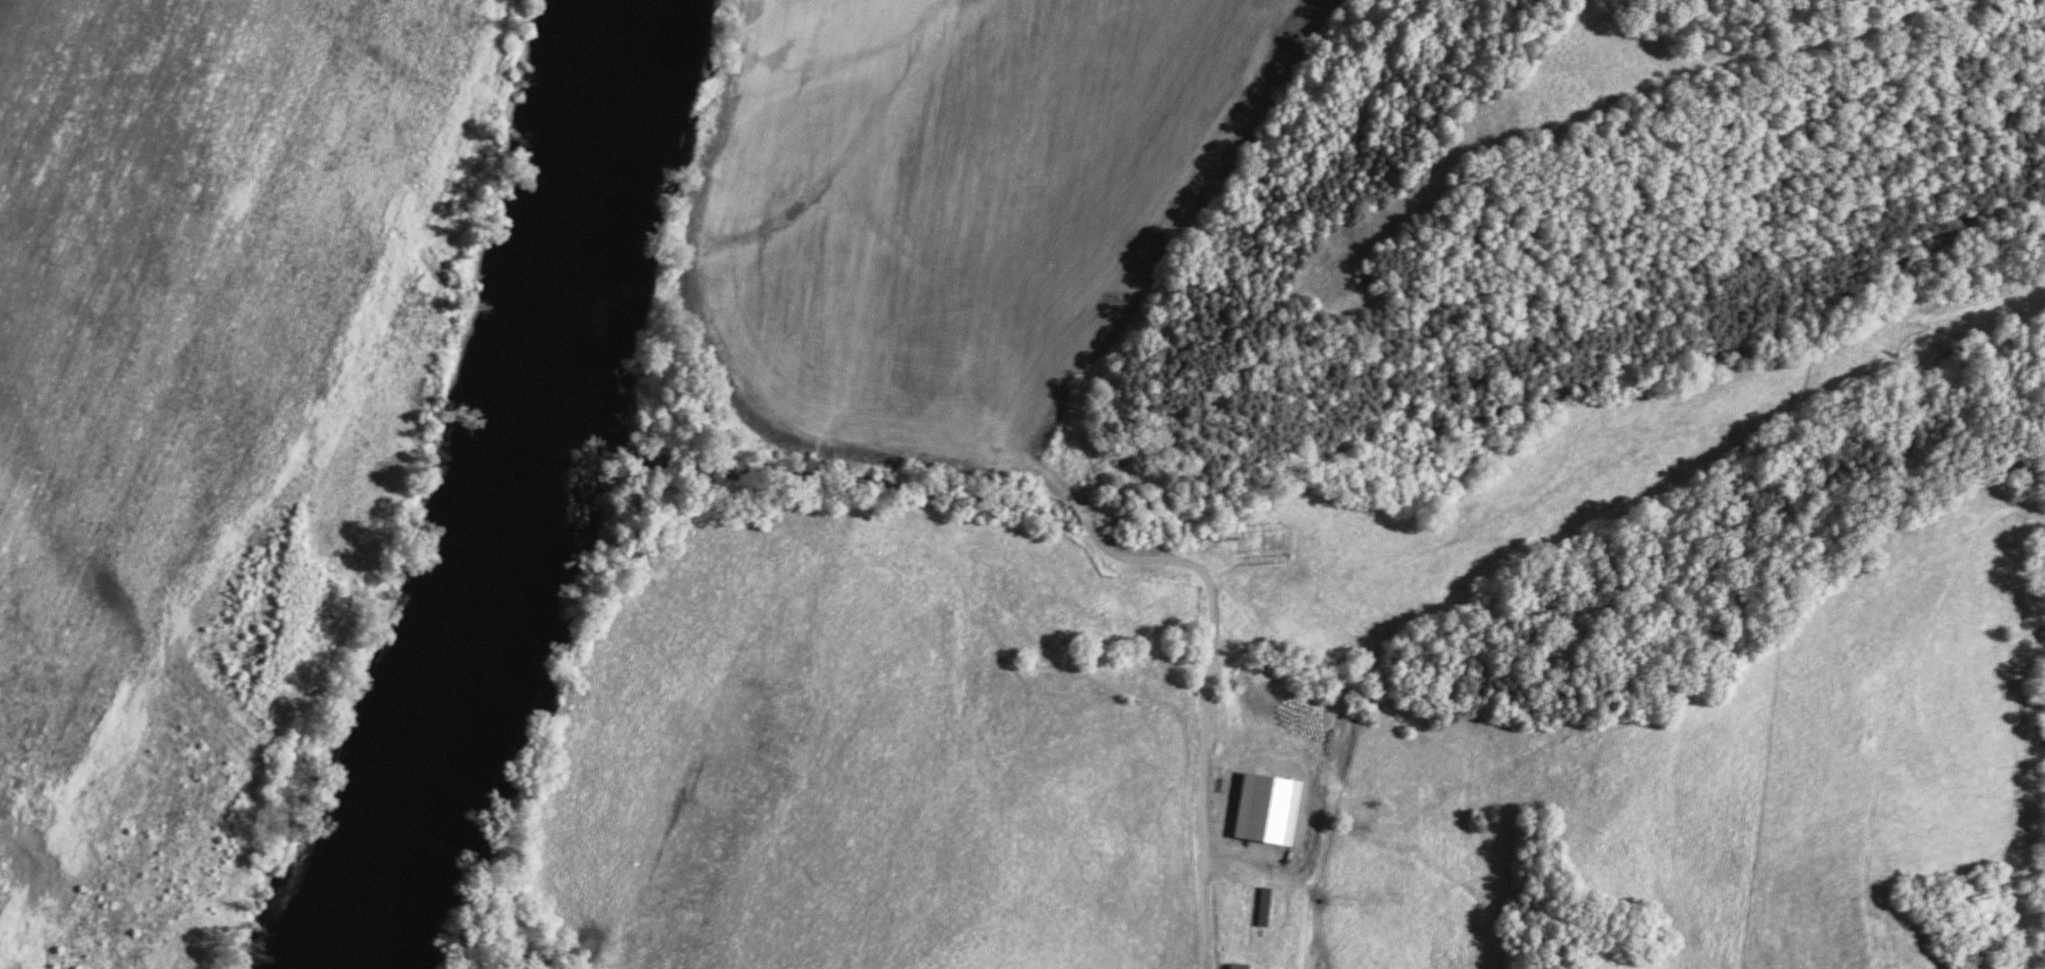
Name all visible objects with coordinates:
river: (501, 485)
road: (405, 501)
road: (1161, 566)
building: (1269, 811)
road: (1271, 877)

